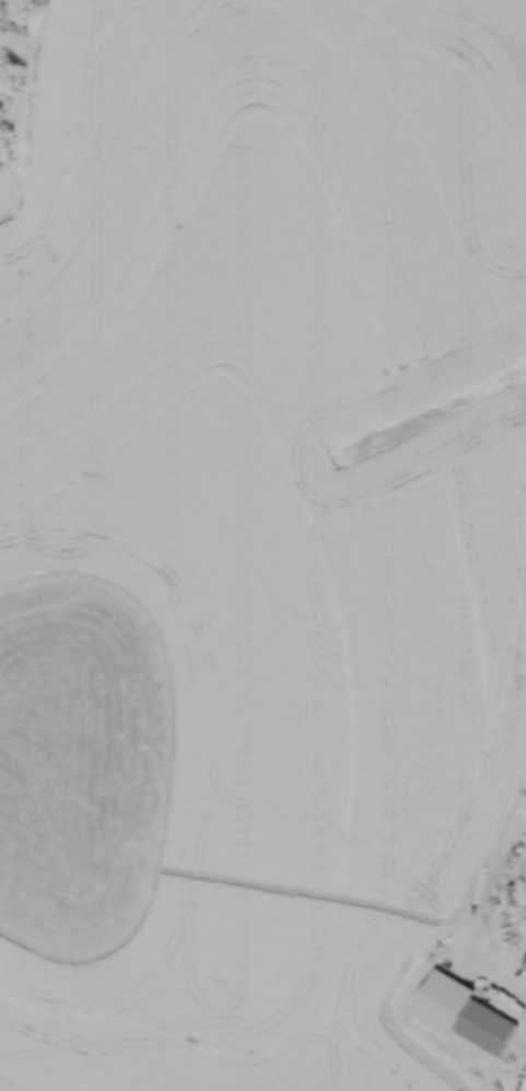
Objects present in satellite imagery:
building: (513, 894)
building: (486, 1025)

